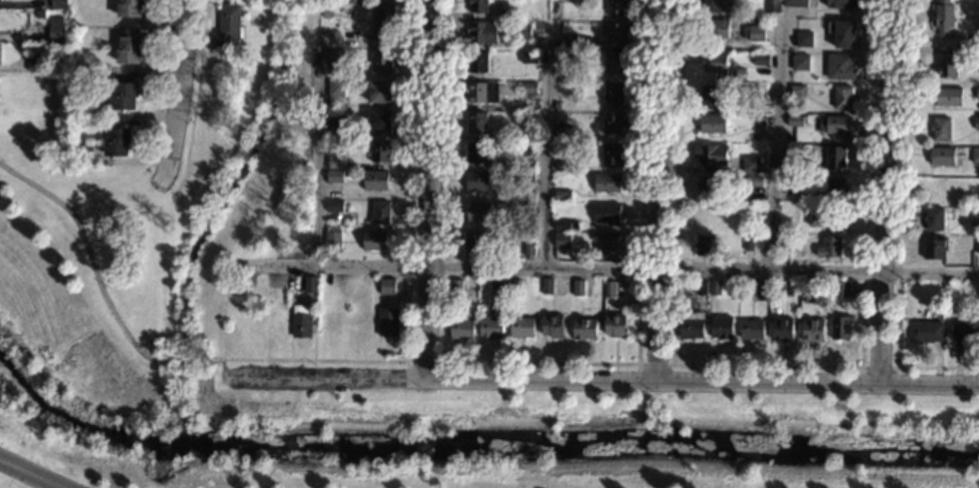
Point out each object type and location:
building: (255, 0)
building: (0, 1)
building: (352, 1)
building: (59, 4)
building: (798, 4)
building: (843, 5)
building: (480, 7)
building: (713, 7)
building: (774, 7)
building: (617, 8)
building: (131, 9)
building: (554, 11)
building: (326, 12)
building: (510, 16)
building: (944, 18)
building: (385, 21)
building: (230, 22)
building: (716, 30)
building: (57, 33)
building: (524, 33)
building: (484, 34)
building: (618, 34)
building: (757, 35)
building: (843, 35)
building: (805, 41)
building: (572, 44)
building: (108, 48)
building: (975, 49)
building: (131, 51)
building: (0, 56)
building: (530, 59)
building: (568, 59)
building: (337, 60)
building: (762, 62)
building: (383, 63)
building: (35, 64)
building: (478, 64)
building: (802, 64)
building: (616, 65)
building: (716, 65)
building: (978, 68)
building: (841, 69)
building: (948, 69)
building: (107, 70)
road: (160, 86)
building: (530, 89)
building: (337, 90)
building: (756, 92)
building: (799, 92)
road: (180, 93)
building: (382, 94)
building: (485, 94)
building: (615, 95)
building: (978, 96)
building: (711, 97)
building: (126, 98)
building: (843, 100)
building: (949, 100)
road: (196, 102)
building: (557, 107)
building: (529, 120)
building: (337, 121)
building: (758, 122)
building: (796, 122)
building: (381, 124)
building: (478, 124)
building: (713, 125)
building: (614, 126)
building: (836, 126)
building: (977, 126)
building: (942, 132)
building: (568, 136)
road: (776, 143)
building: (119, 144)
road: (547, 145)
building: (527, 151)
building: (796, 152)
building: (382, 153)
building: (613, 155)
building: (479, 156)
building: (711, 157)
building: (975, 157)
building: (836, 158)
building: (943, 158)
road: (318, 160)
building: (336, 163)
building: (750, 166)
building: (564, 167)
building: (336, 178)
building: (527, 178)
road: (410, 180)
building: (377, 182)
building: (479, 183)
building: (755, 183)
building: (610, 185)
building: (793, 186)
road: (428, 187)
building: (709, 187)
road: (655, 189)
building: (837, 191)
road: (881, 191)
building: (563, 197)
building: (335, 208)
building: (526, 211)
building: (481, 213)
building: (754, 213)
building: (381, 215)
building: (608, 215)
building: (974, 216)
building: (827, 219)
building: (935, 221)
park: (205, 224)
road: (900, 224)
building: (566, 227)
building: (334, 241)
building: (564, 242)
building: (376, 243)
building: (750, 245)
building: (474, 246)
building: (610, 246)
building: (706, 248)
building: (978, 248)
building: (531, 249)
building: (831, 249)
building: (935, 250)
building: (785, 251)
road: (91, 258)
road: (608, 268)
building: (311, 286)
building: (548, 288)
building: (389, 289)
building: (504, 289)
building: (717, 289)
building: (458, 290)
building: (516, 290)
building: (580, 290)
building: (611, 290)
building: (702, 290)
building: (779, 290)
building: (842, 290)
building: (759, 292)
building: (978, 293)
building: (813, 296)
park: (74, 300)
building: (957, 311)
building: (303, 323)
building: (390, 323)
building: (616, 328)
building: (693, 328)
building: (492, 329)
building: (524, 329)
building: (554, 329)
building: (841, 329)
building: (723, 330)
building: (463, 331)
building: (586, 331)
building: (754, 331)
building: (784, 331)
building: (814, 332)
building: (927, 334)
building: (967, 334)
road: (181, 358)
road: (207, 358)
road: (314, 360)
road: (424, 361)
road: (541, 362)
road: (655, 364)
road: (767, 365)
road: (222, 367)
road: (878, 367)
road: (600, 378)
river: (478, 446)
road: (31, 474)

